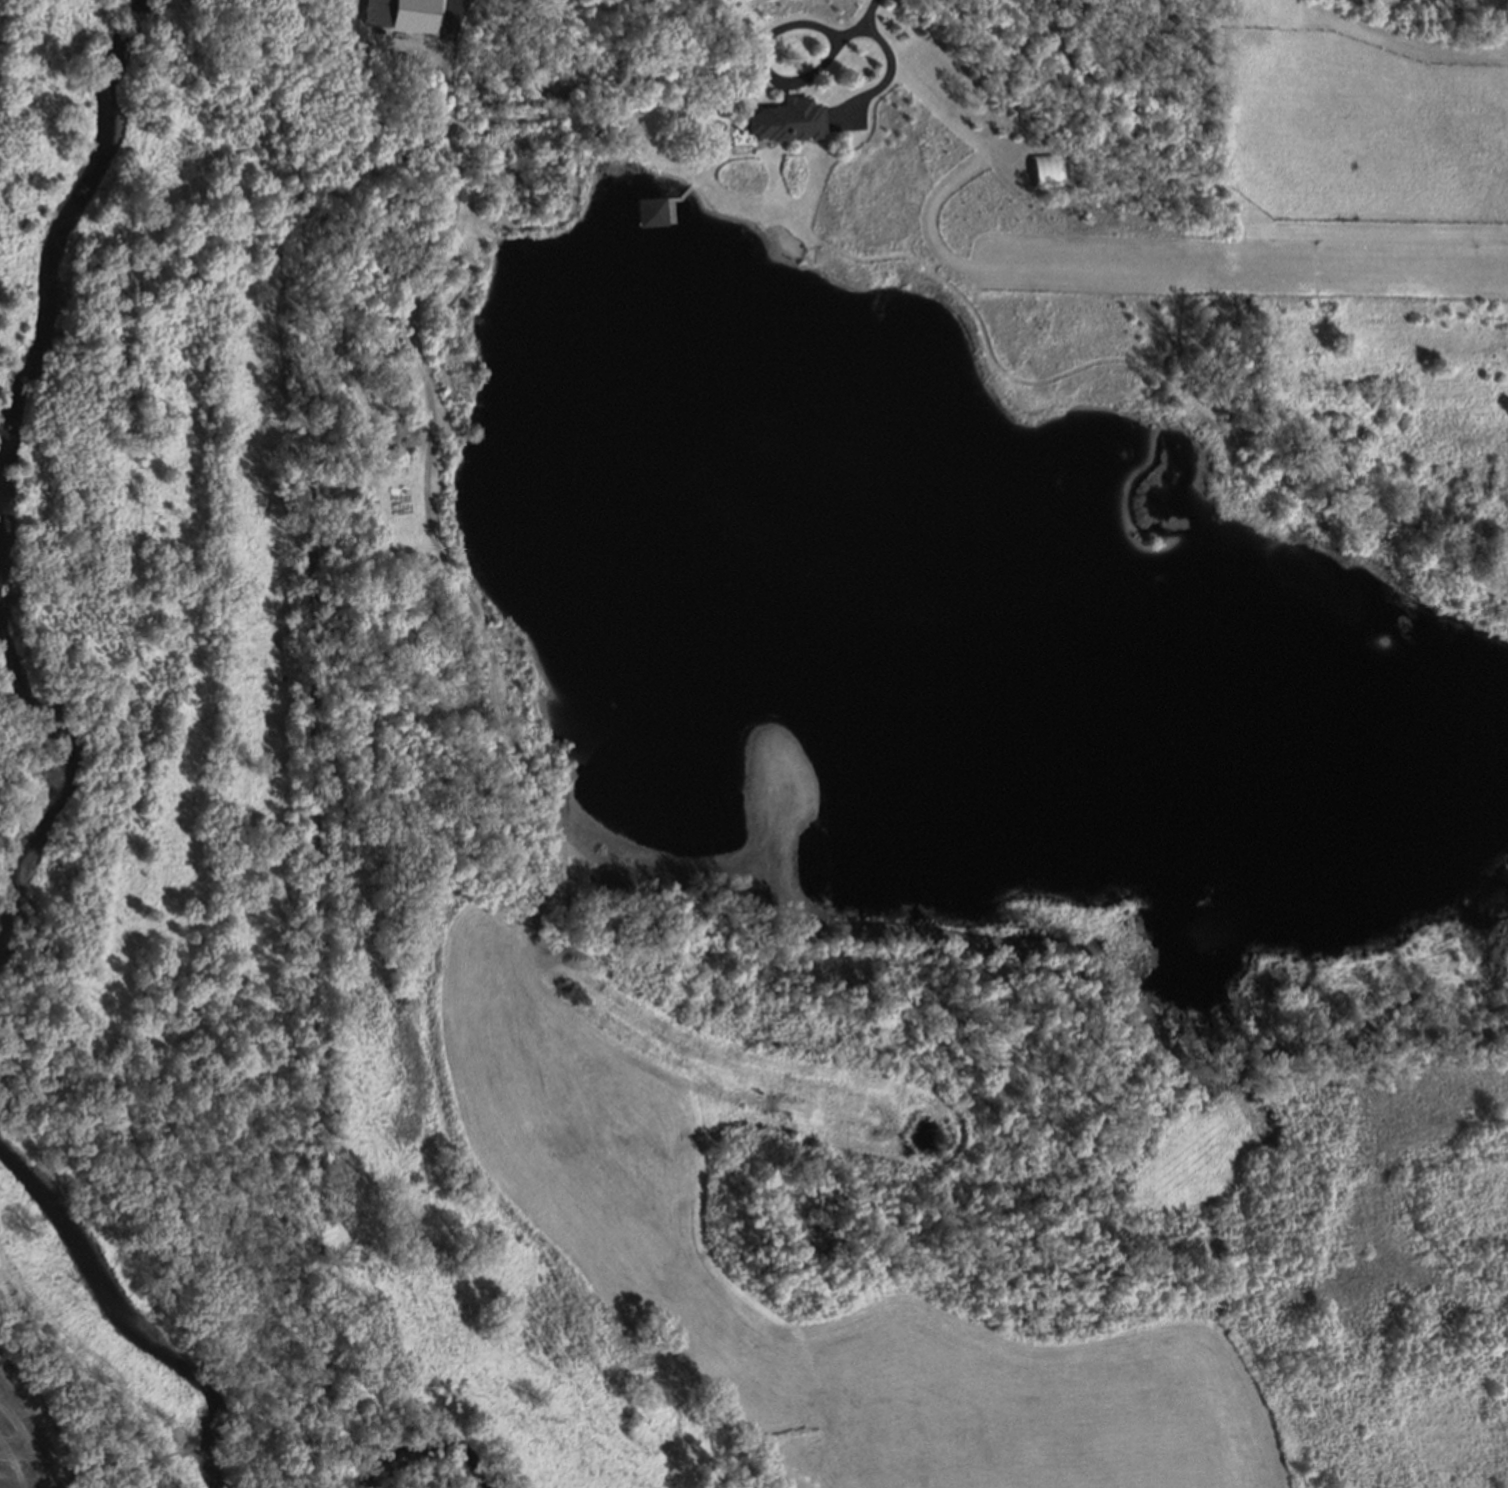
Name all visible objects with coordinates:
building: (1047, 3)
building: (1071, 4)
building: (410, 16)
road: (865, 18)
building: (1157, 24)
road: (764, 63)
road: (886, 78)
building: (787, 118)
building: (1044, 168)
building: (655, 212)
river: (7, 477)
river: (136, 1286)
river: (424, 1470)

